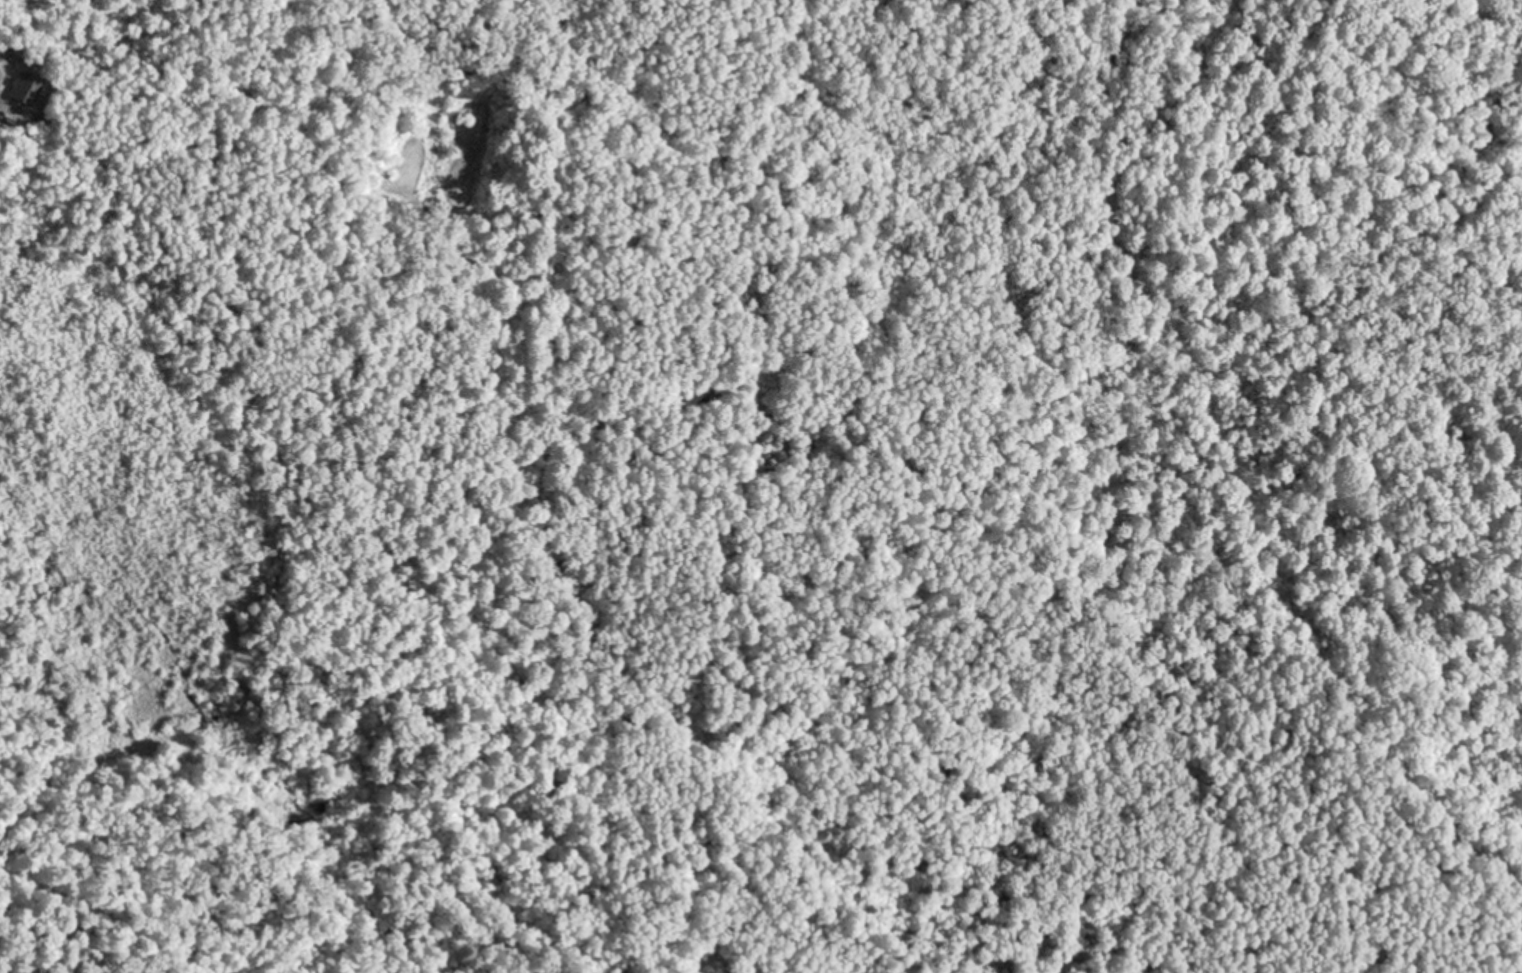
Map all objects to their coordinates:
building: (25, 88)

